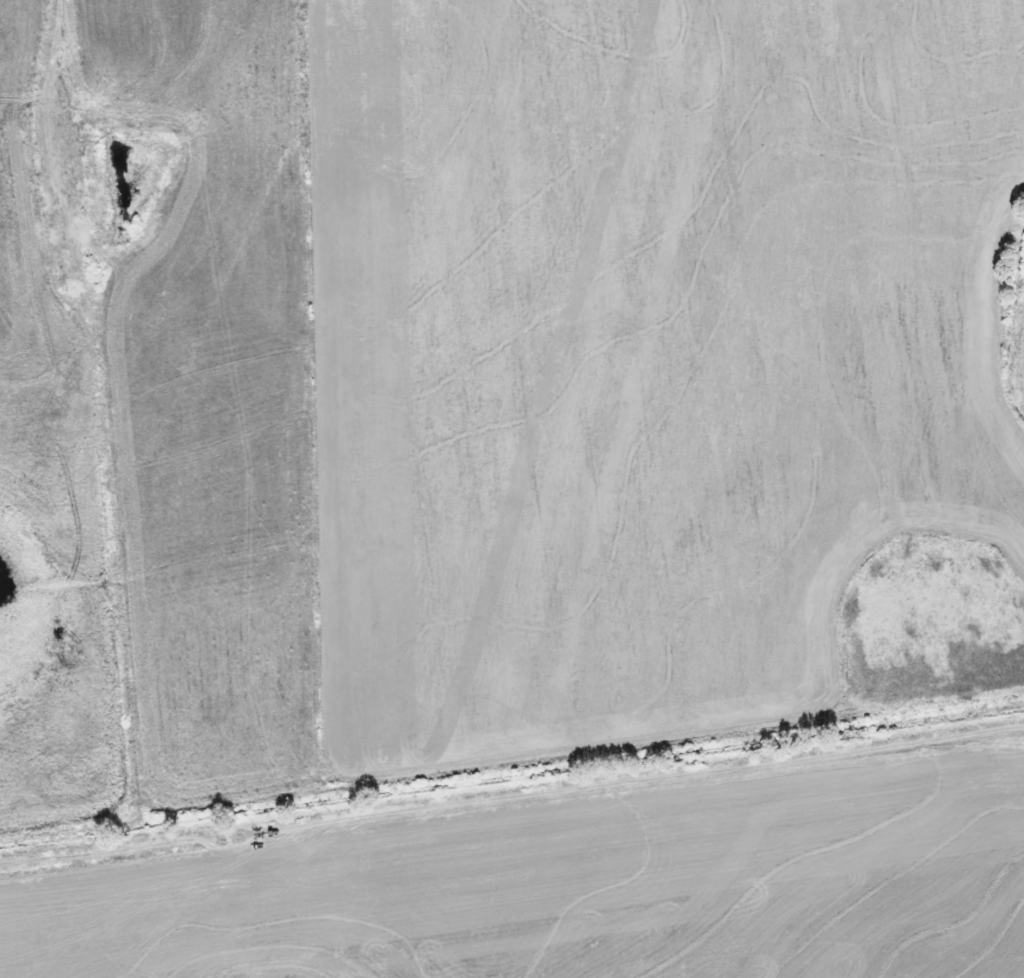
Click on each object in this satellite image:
road: (59, 43)
road: (512, 793)

